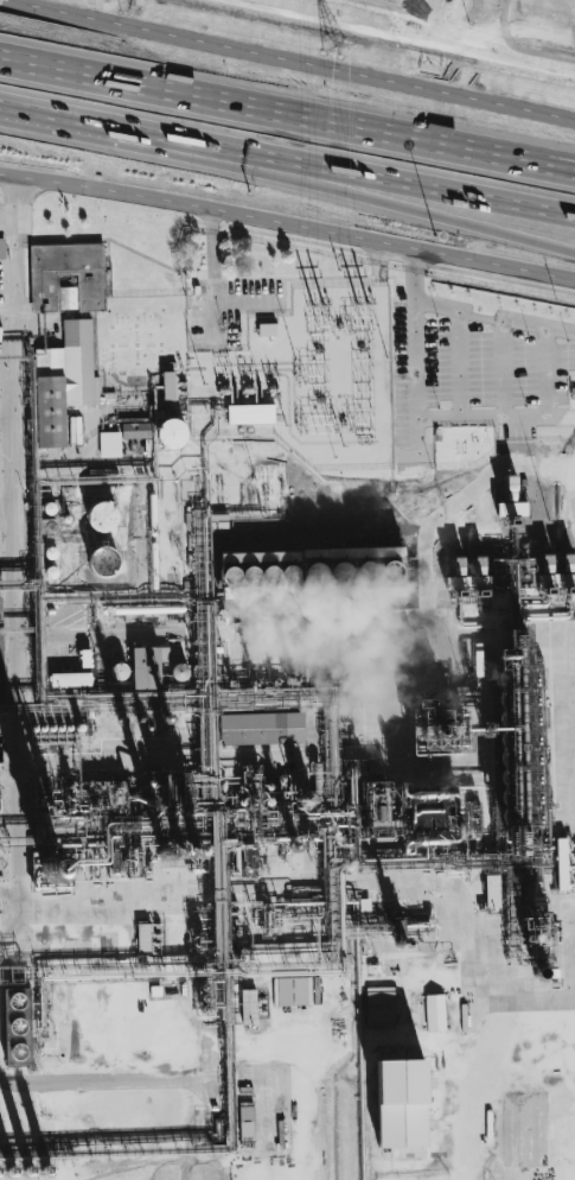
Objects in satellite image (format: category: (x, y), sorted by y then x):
power tower: (129, 4)
power tower: (333, 46)
road: (520, 47)
road: (289, 62)
road: (287, 115)
road: (95, 126)
road: (383, 182)
road: (383, 197)
road: (287, 222)
building: (66, 277)
road: (298, 300)
road: (415, 348)
road: (8, 361)
road: (544, 368)
power substation: (307, 380)
building: (64, 381)
building: (249, 413)
road: (560, 414)
road: (5, 420)
building: (134, 430)
road: (285, 432)
building: (171, 433)
building: (109, 444)
road: (569, 459)
road: (569, 483)
road: (6, 506)
road: (448, 507)
building: (102, 516)
building: (103, 562)
building: (312, 573)
building: (511, 585)
road: (221, 635)
building: (146, 667)
building: (70, 679)
building: (261, 728)
road: (19, 729)
building: (564, 862)
road: (362, 887)
building: (492, 890)
road: (11, 893)
building: (143, 937)
road: (175, 984)
building: (294, 991)
road: (535, 996)
building: (379, 1004)
building: (248, 1007)
building: (17, 1026)
road: (487, 1087)
building: (400, 1103)
building: (245, 1123)

